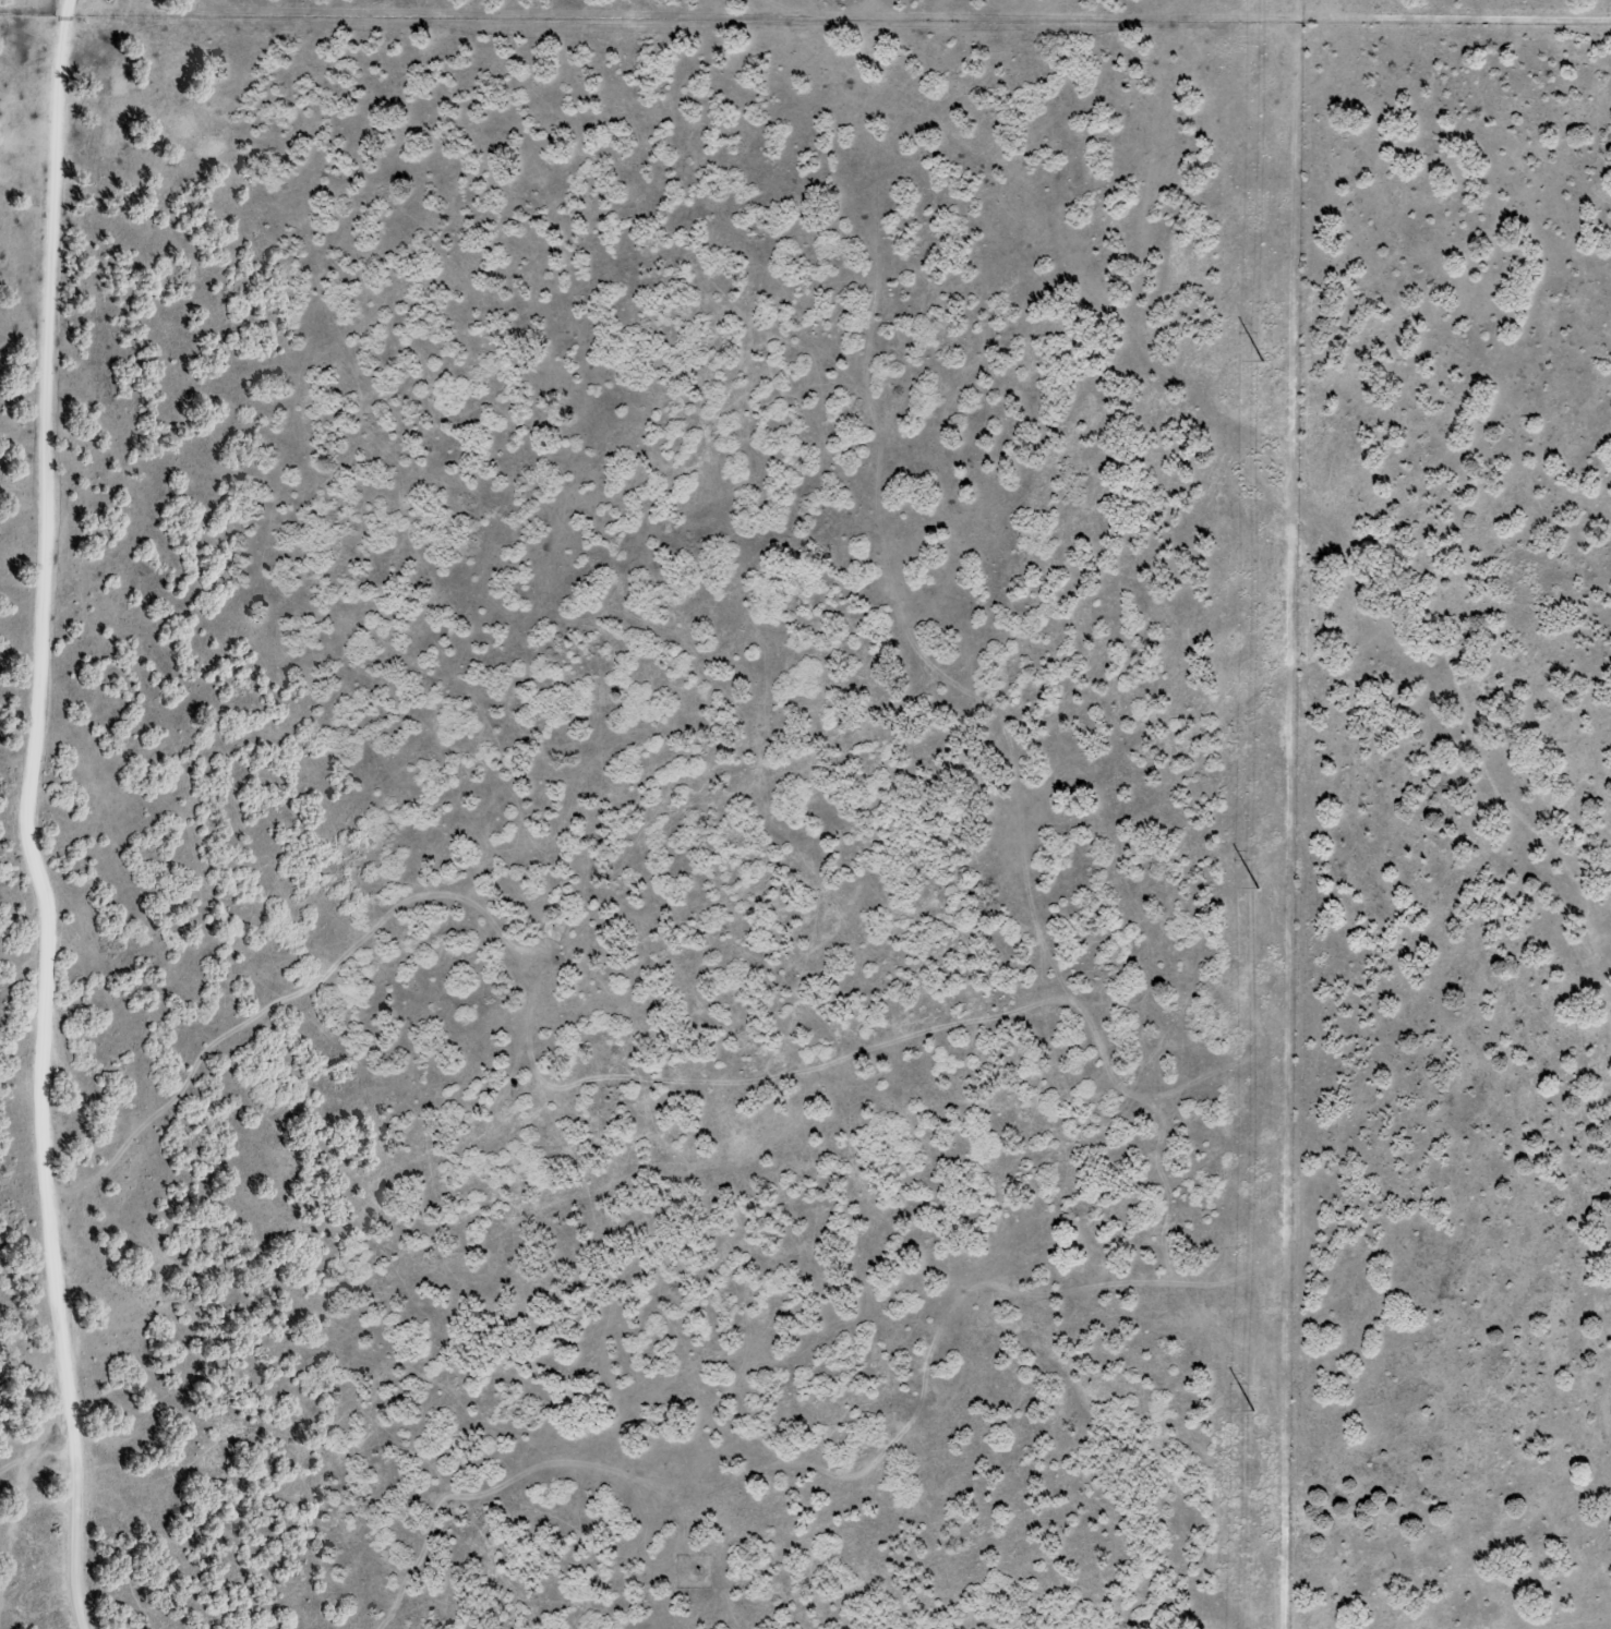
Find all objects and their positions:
power tower: (1261, 362)
power tower: (1257, 891)
power tower: (1250, 1411)

